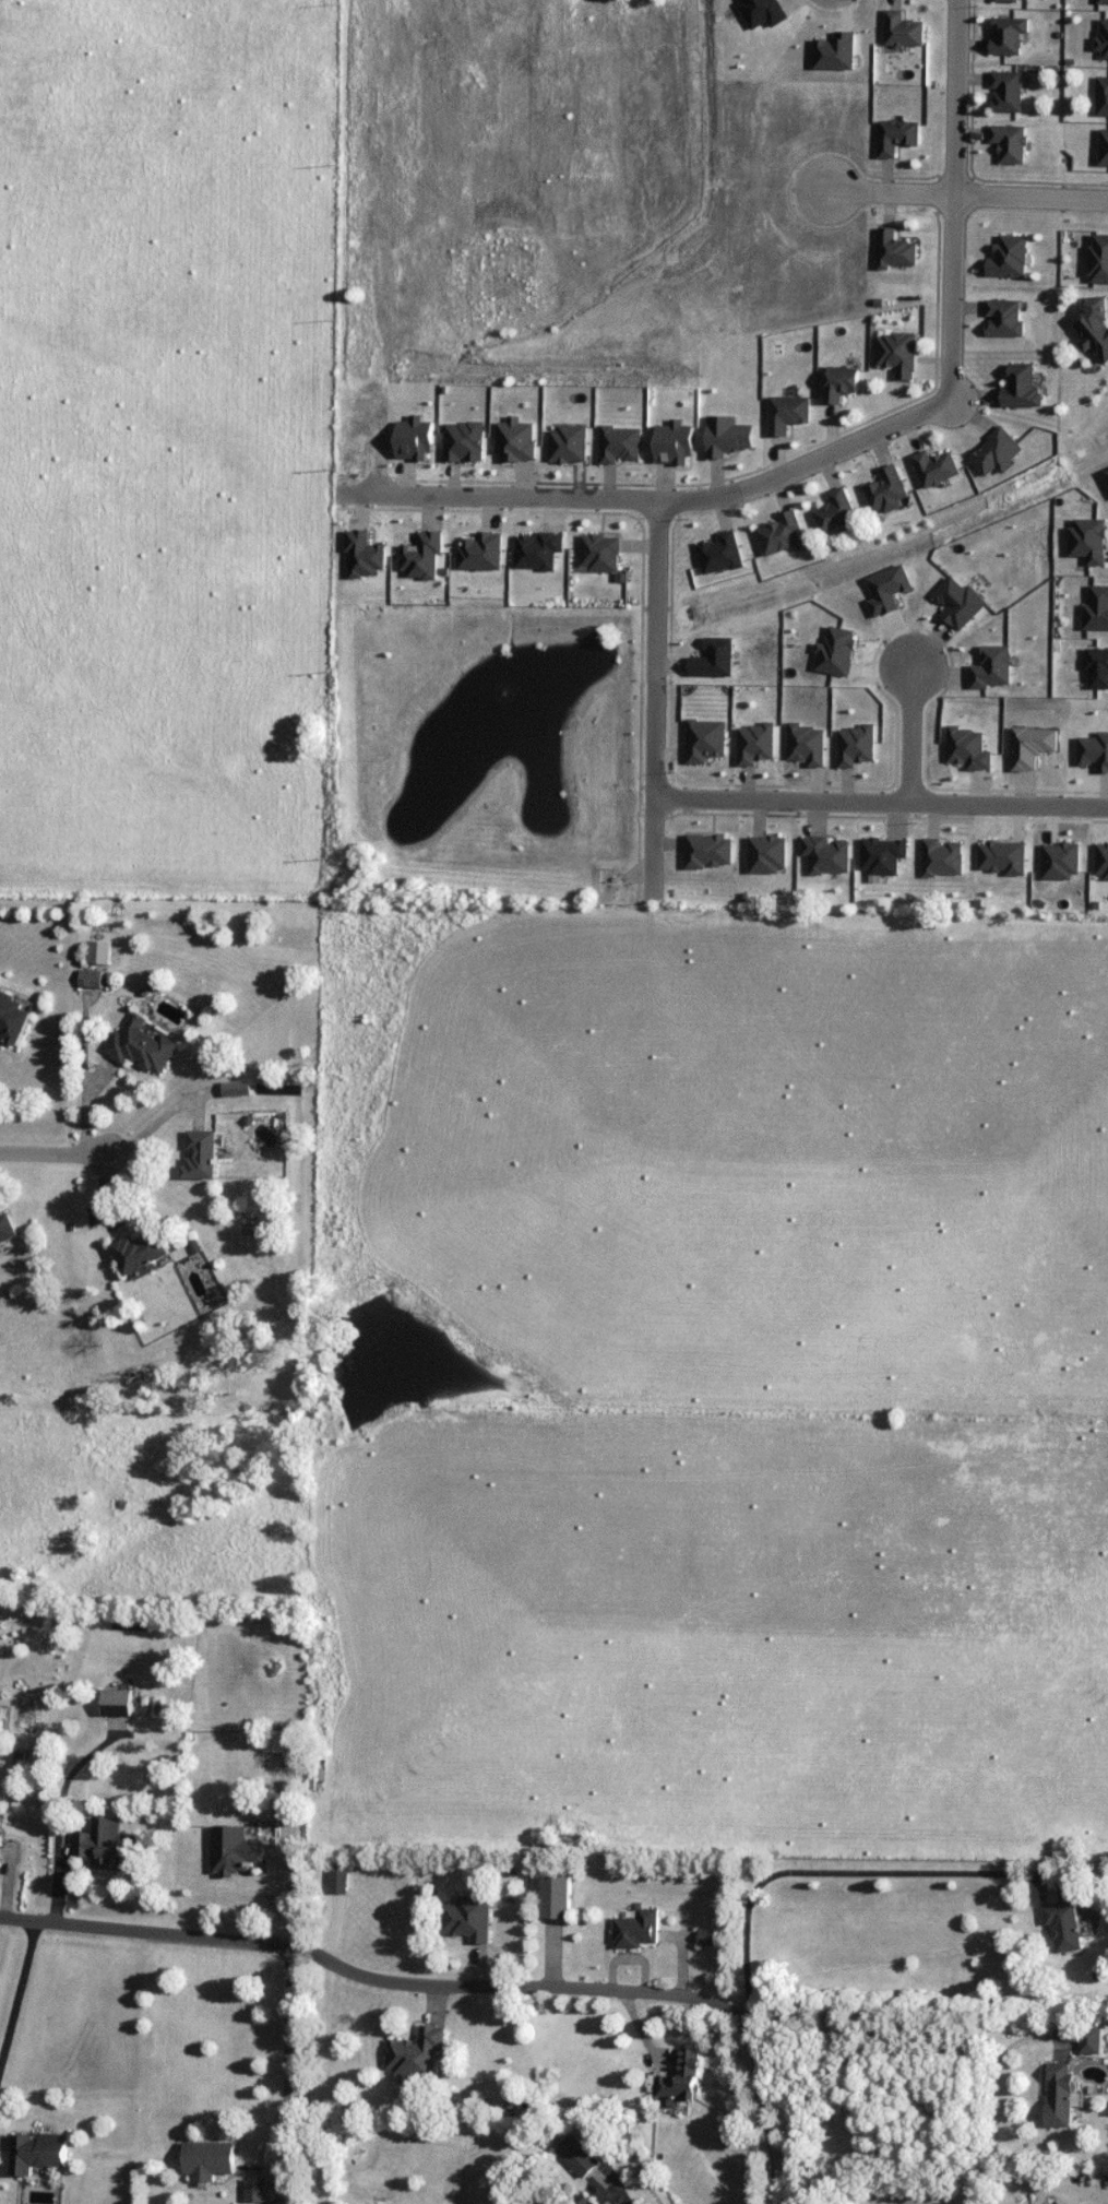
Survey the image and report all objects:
building: (1013, 0)
building: (1103, 2)
building: (903, 31)
building: (1009, 36)
building: (1104, 39)
building: (1006, 92)
building: (1103, 96)
building: (896, 137)
building: (1010, 143)
building: (1104, 147)
road: (957, 194)
road: (952, 201)
building: (895, 250)
building: (1010, 258)
building: (1099, 259)
building: (1005, 318)
building: (1096, 327)
building: (897, 355)
building: (842, 383)
building: (1024, 388)
building: (788, 415)
building: (998, 453)
building: (937, 469)
building: (889, 491)
road: (656, 501)
building: (837, 512)
building: (783, 535)
road: (653, 700)
road: (906, 725)
road: (880, 803)
building: (91, 979)
building: (13, 1017)
building: (143, 1045)
road: (126, 1154)
building: (201, 1156)
building: (8, 1230)
building: (143, 1252)
building: (119, 1703)
building: (275, 1742)
building: (0, 1829)
building: (109, 1851)
building: (235, 1851)
road: (844, 1877)
building: (339, 1883)
building: (559, 1898)
building: (469, 1919)
building: (1065, 1928)
building: (638, 1931)
building: (707, 1939)
road: (370, 1984)
road: (20, 2003)
road: (287, 2026)
building: (1091, 2040)
building: (417, 2055)
building: (683, 2079)
road: (994, 2086)
building: (1061, 2095)
road: (764, 2117)
road: (312, 2141)
road: (9, 2152)
building: (39, 2153)
building: (579, 2157)
building: (209, 2160)
road: (922, 2181)
building: (257, 2191)
road: (1067, 2201)

